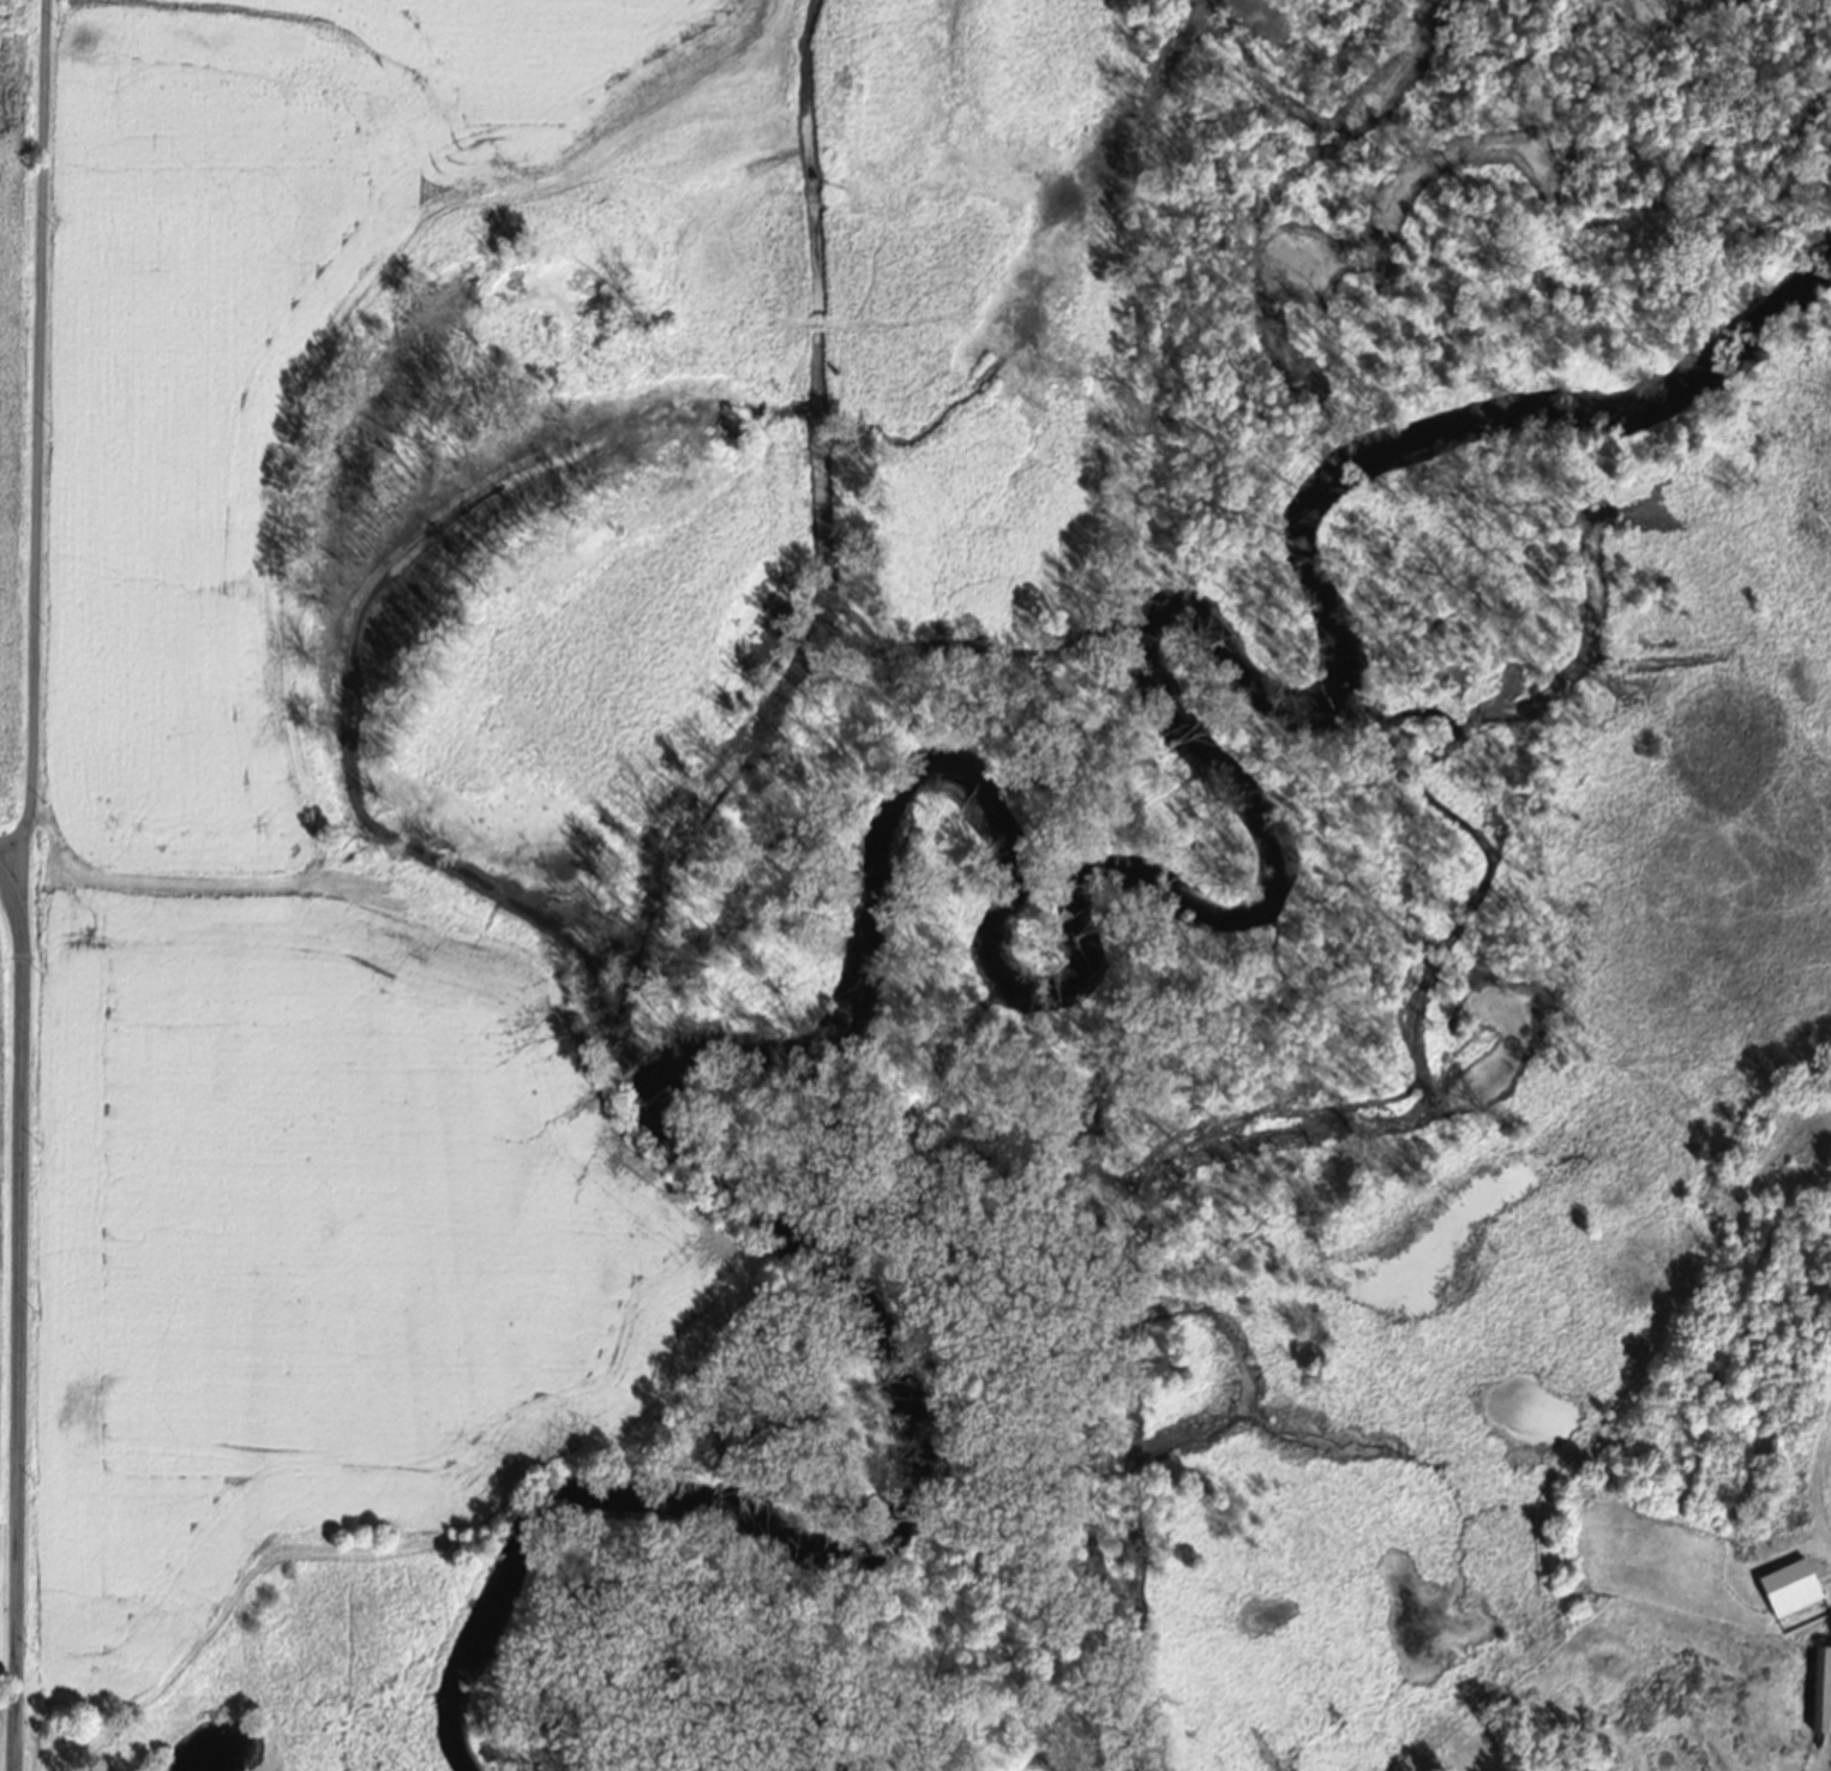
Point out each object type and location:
road: (25, 413)
river: (936, 822)
road: (5, 824)
road: (12, 1298)
building: (1824, 1688)

